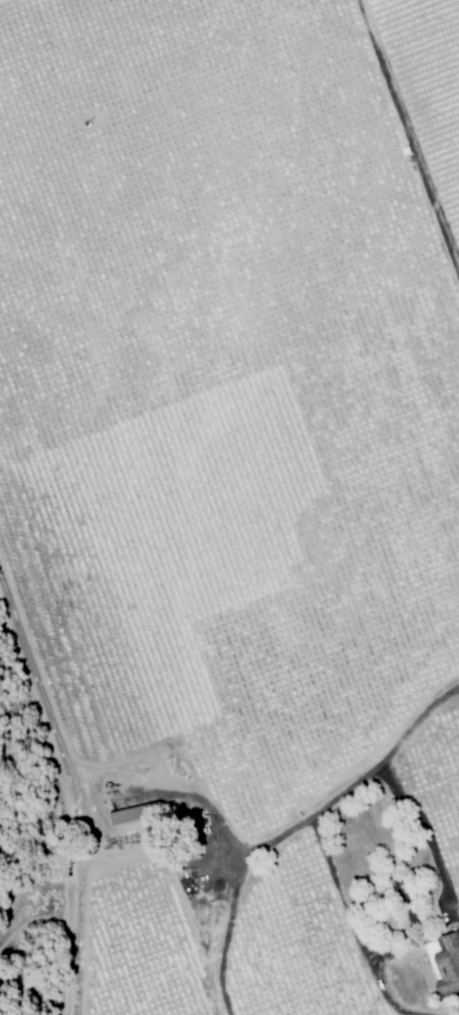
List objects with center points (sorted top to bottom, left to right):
road: (409, 136)
road: (396, 792)
road: (252, 858)
building: (446, 964)

